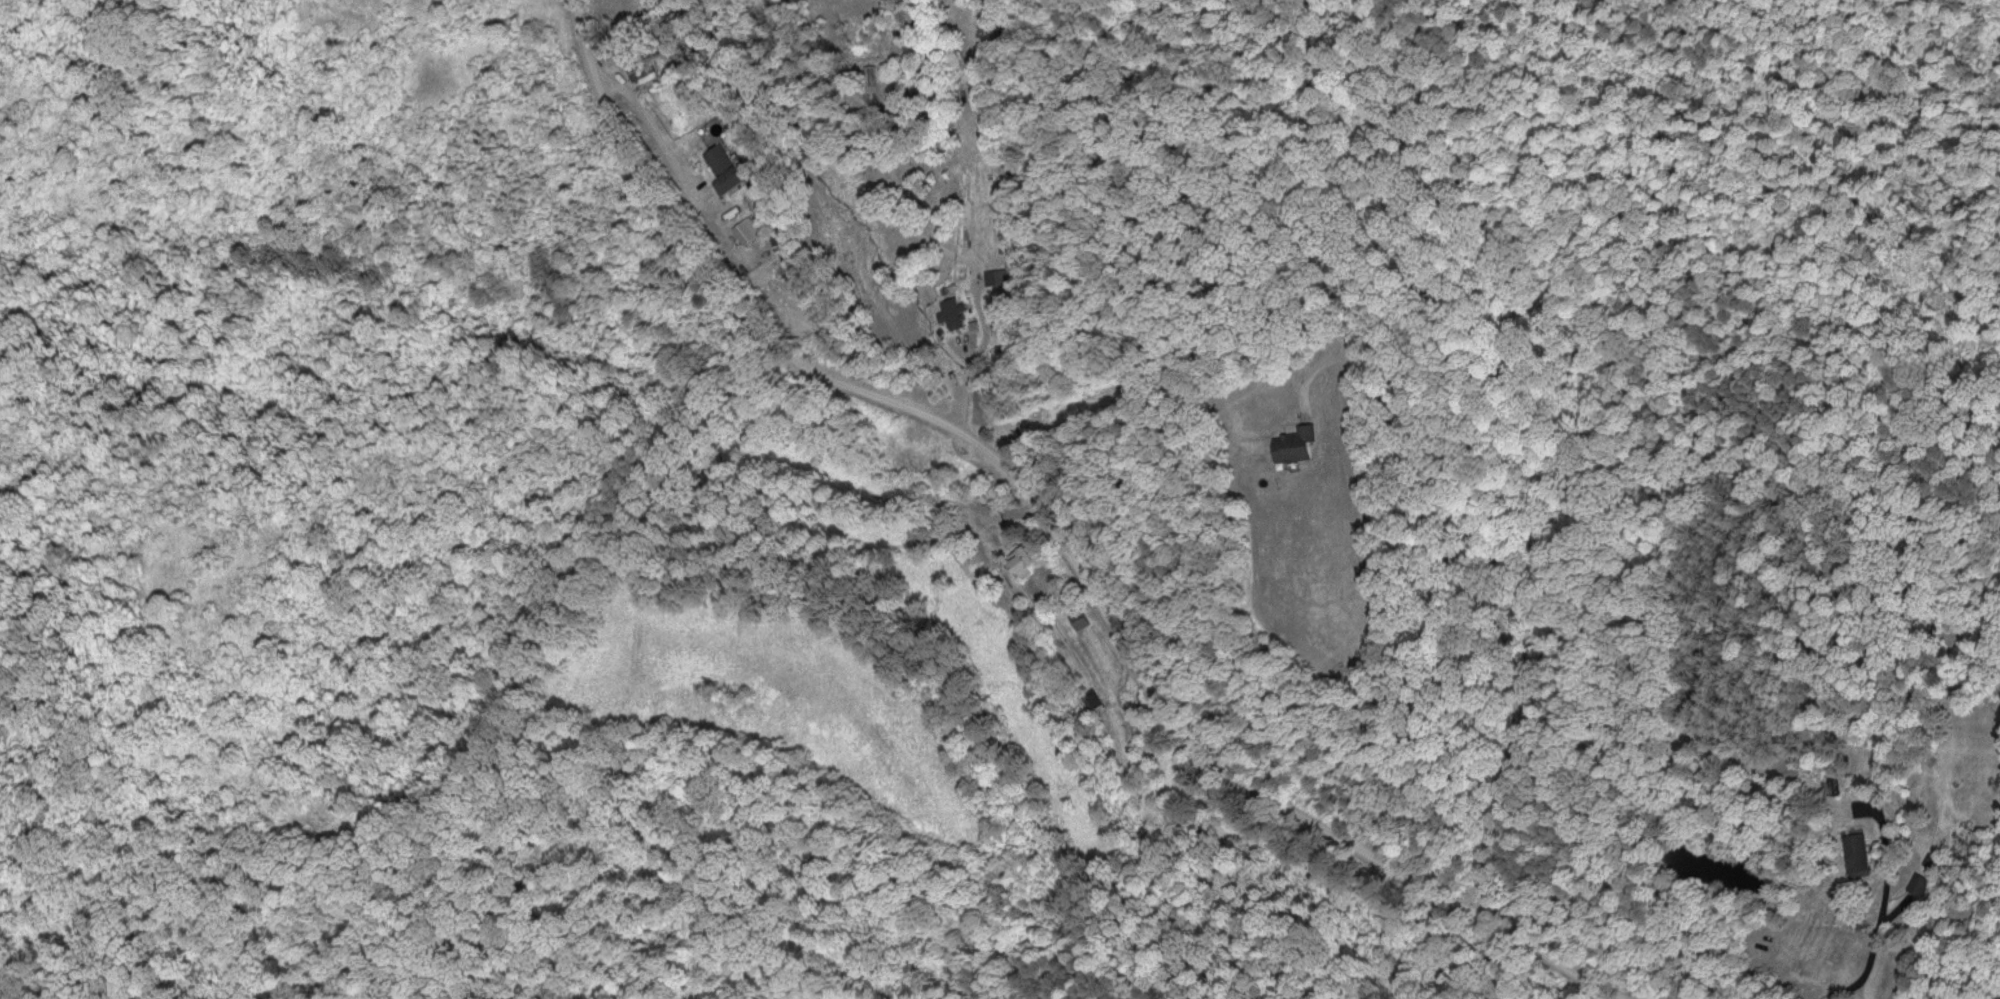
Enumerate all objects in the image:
building: (721, 166)
building: (946, 313)
building: (1291, 443)
building: (988, 511)
road: (1042, 553)
building: (1019, 558)
road: (1476, 596)
building: (1075, 619)
building: (1854, 854)
building: (1915, 884)

